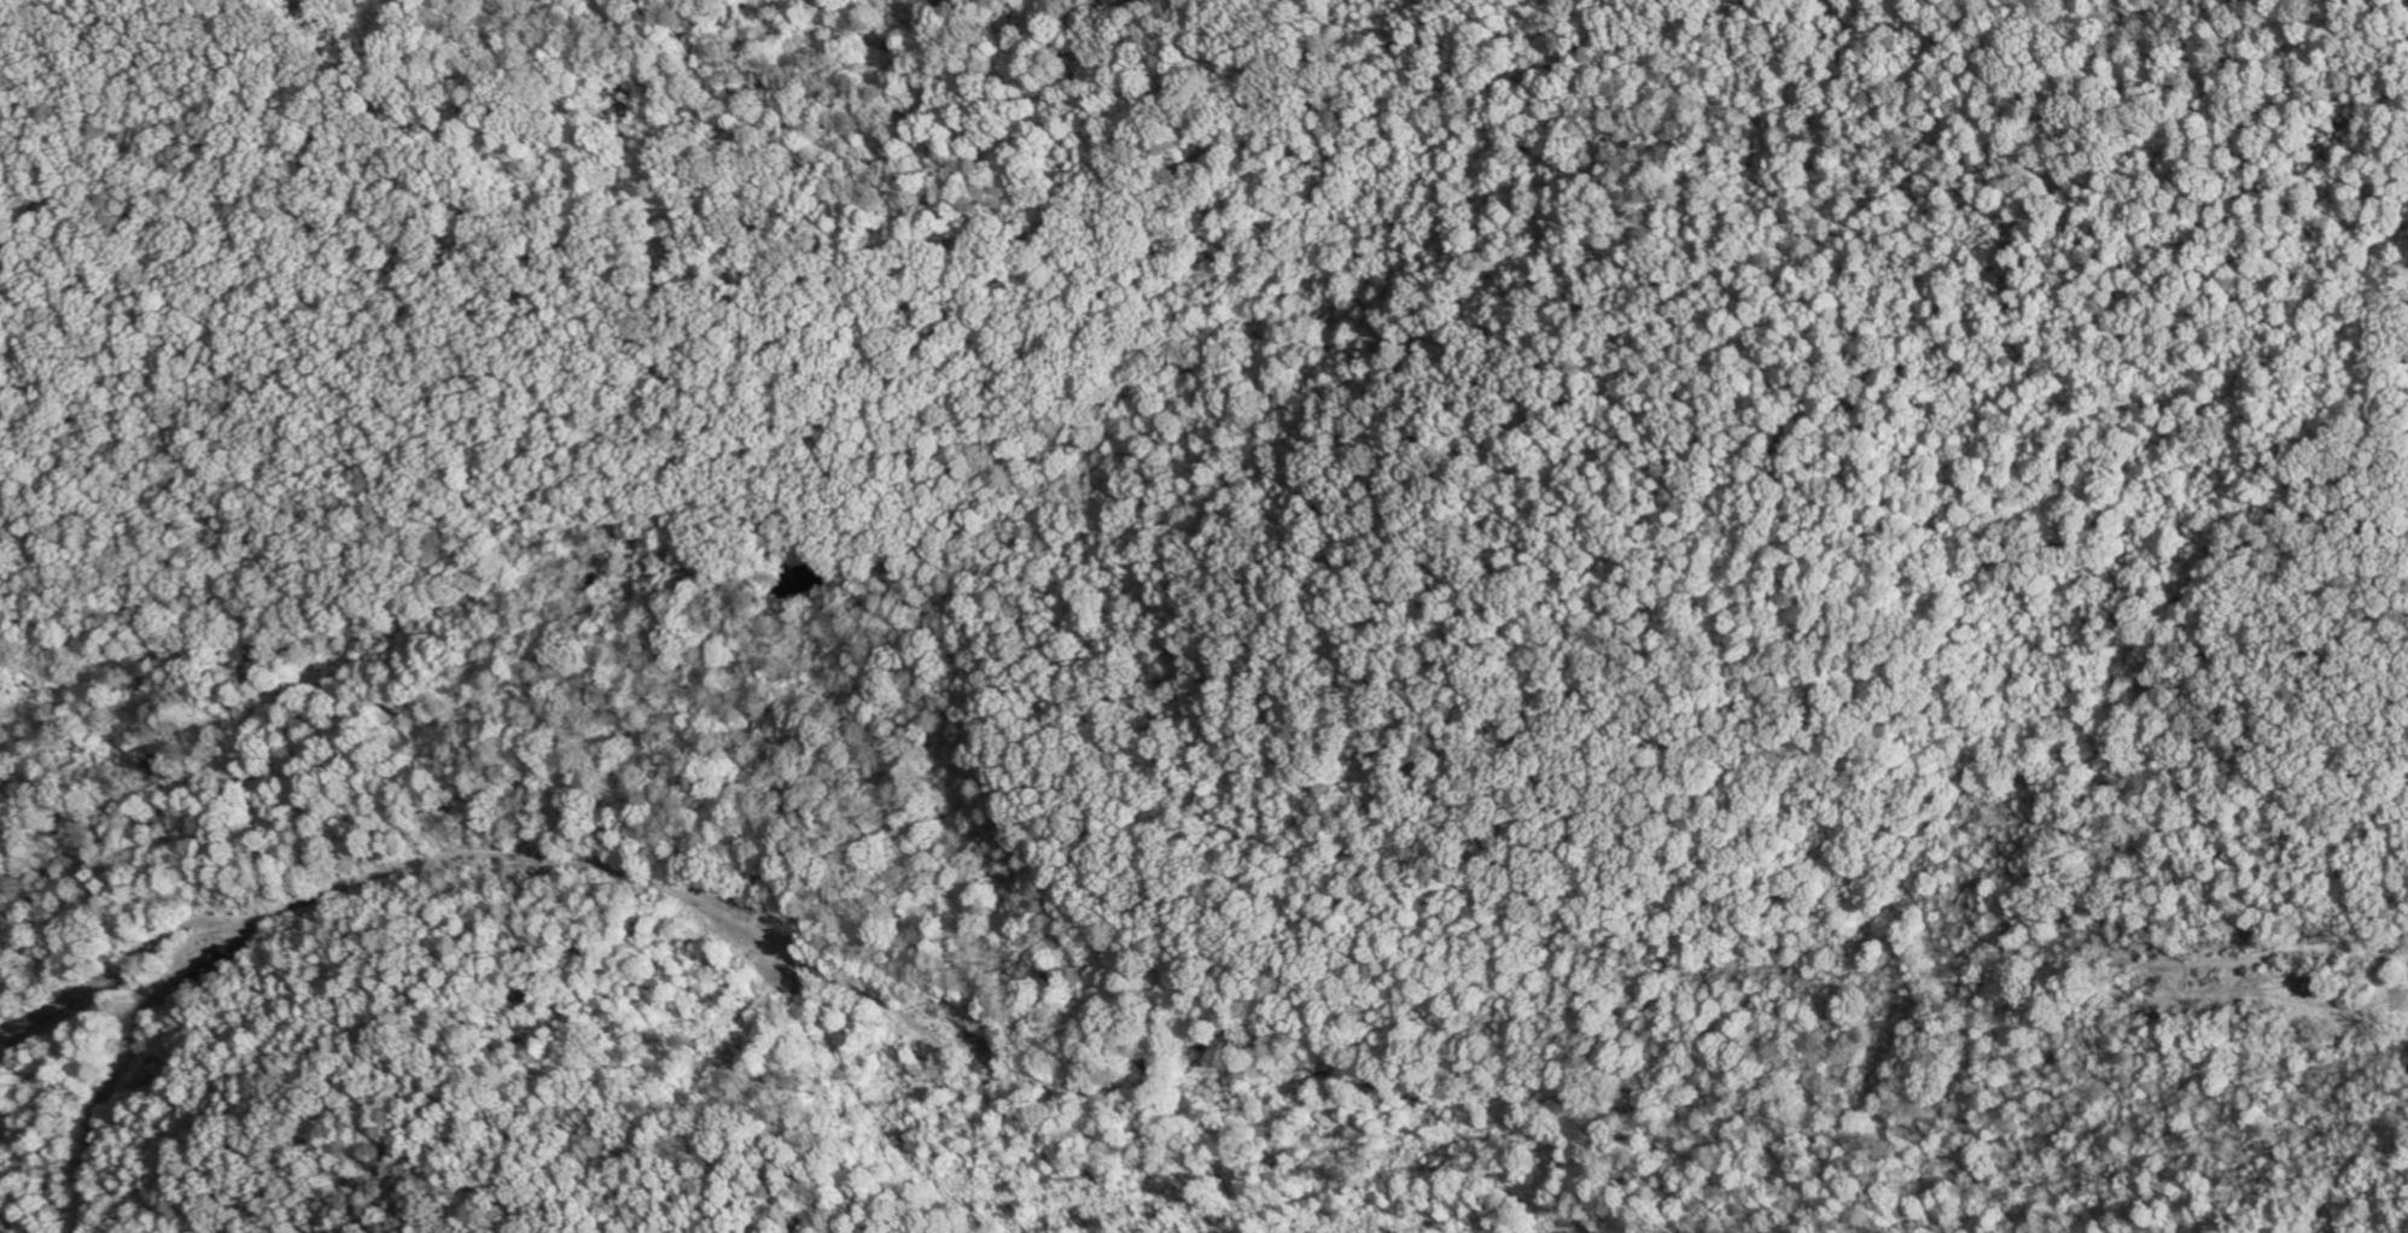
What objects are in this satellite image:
building: (217, 971)

